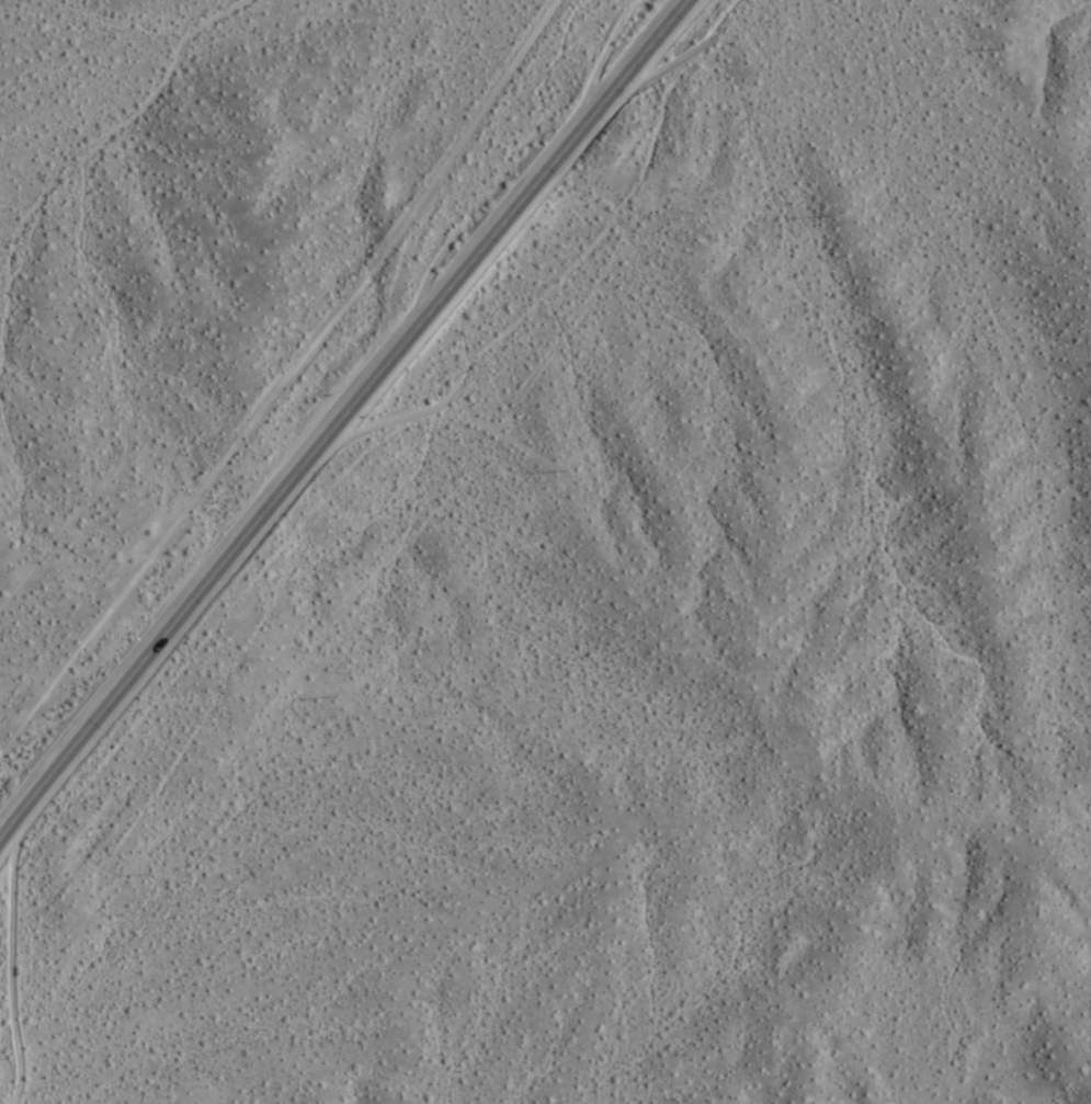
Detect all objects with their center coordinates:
road: (345, 418)

